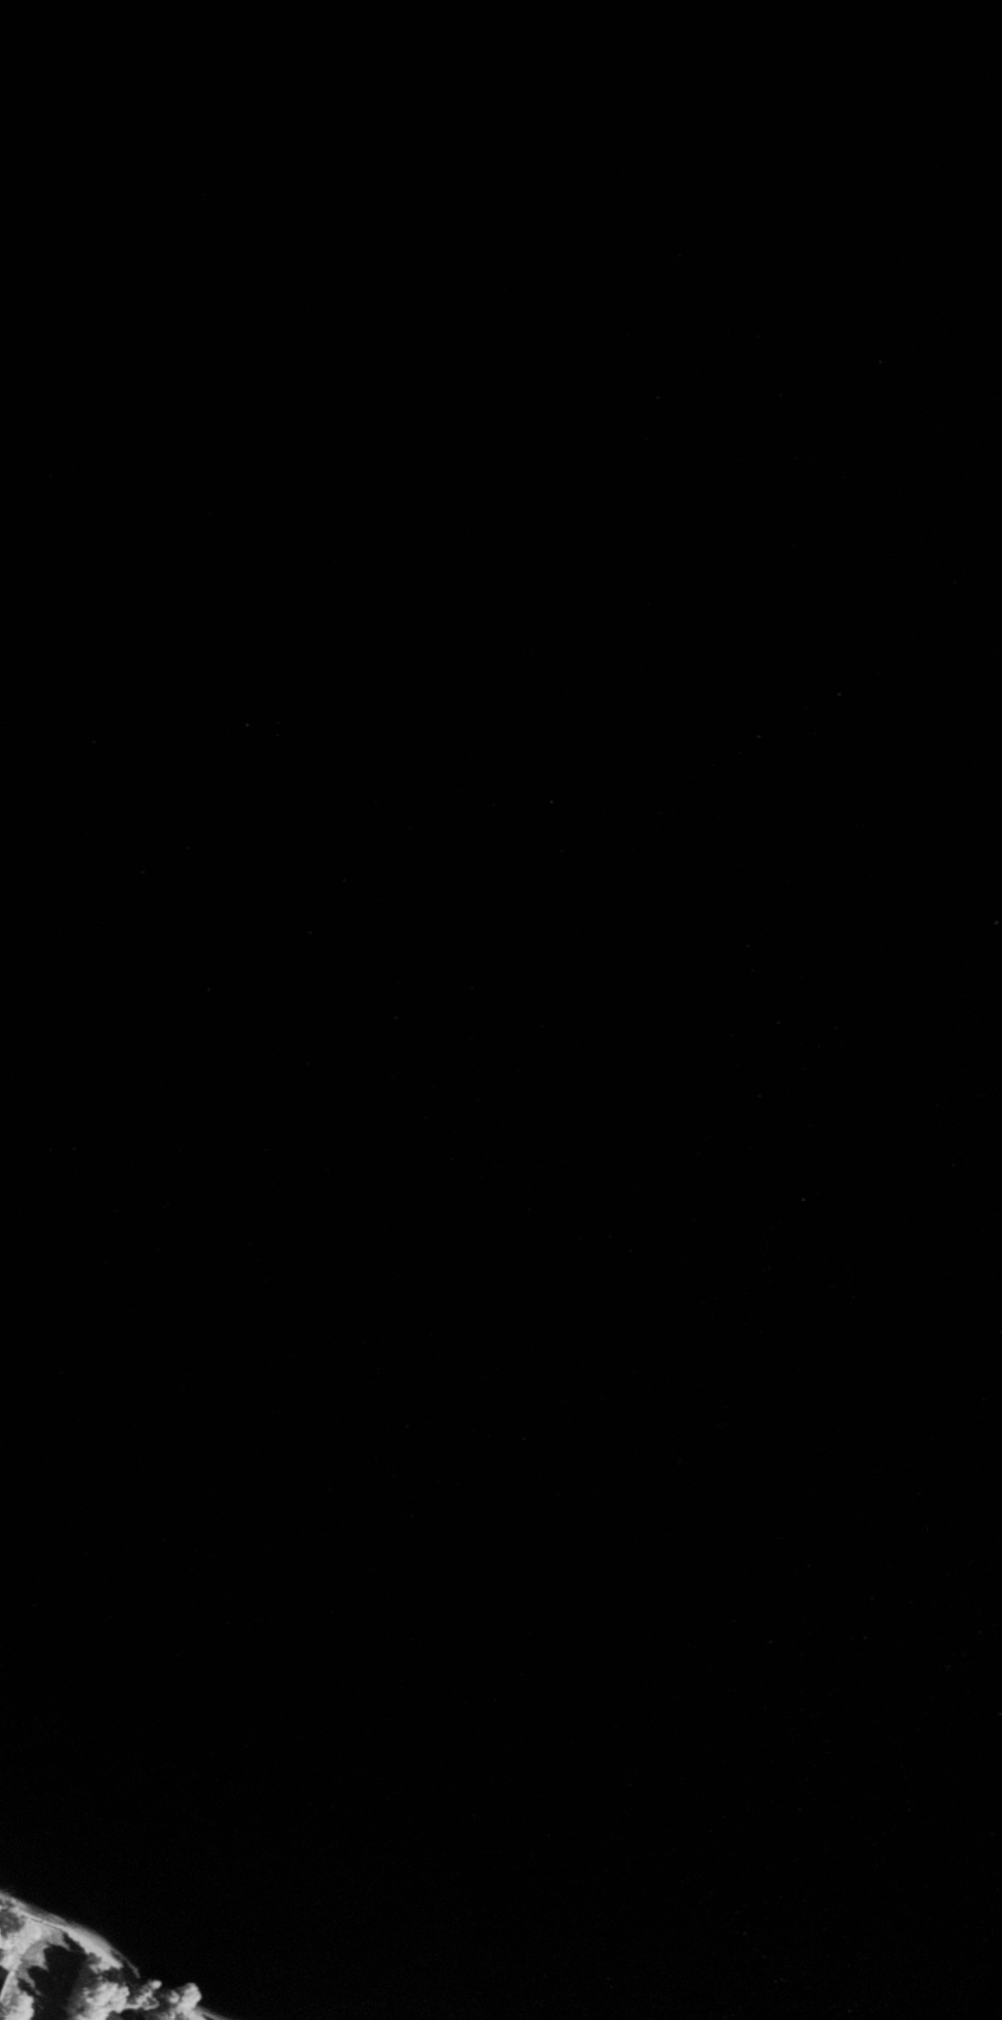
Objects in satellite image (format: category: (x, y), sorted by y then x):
building: (112, 2015)

